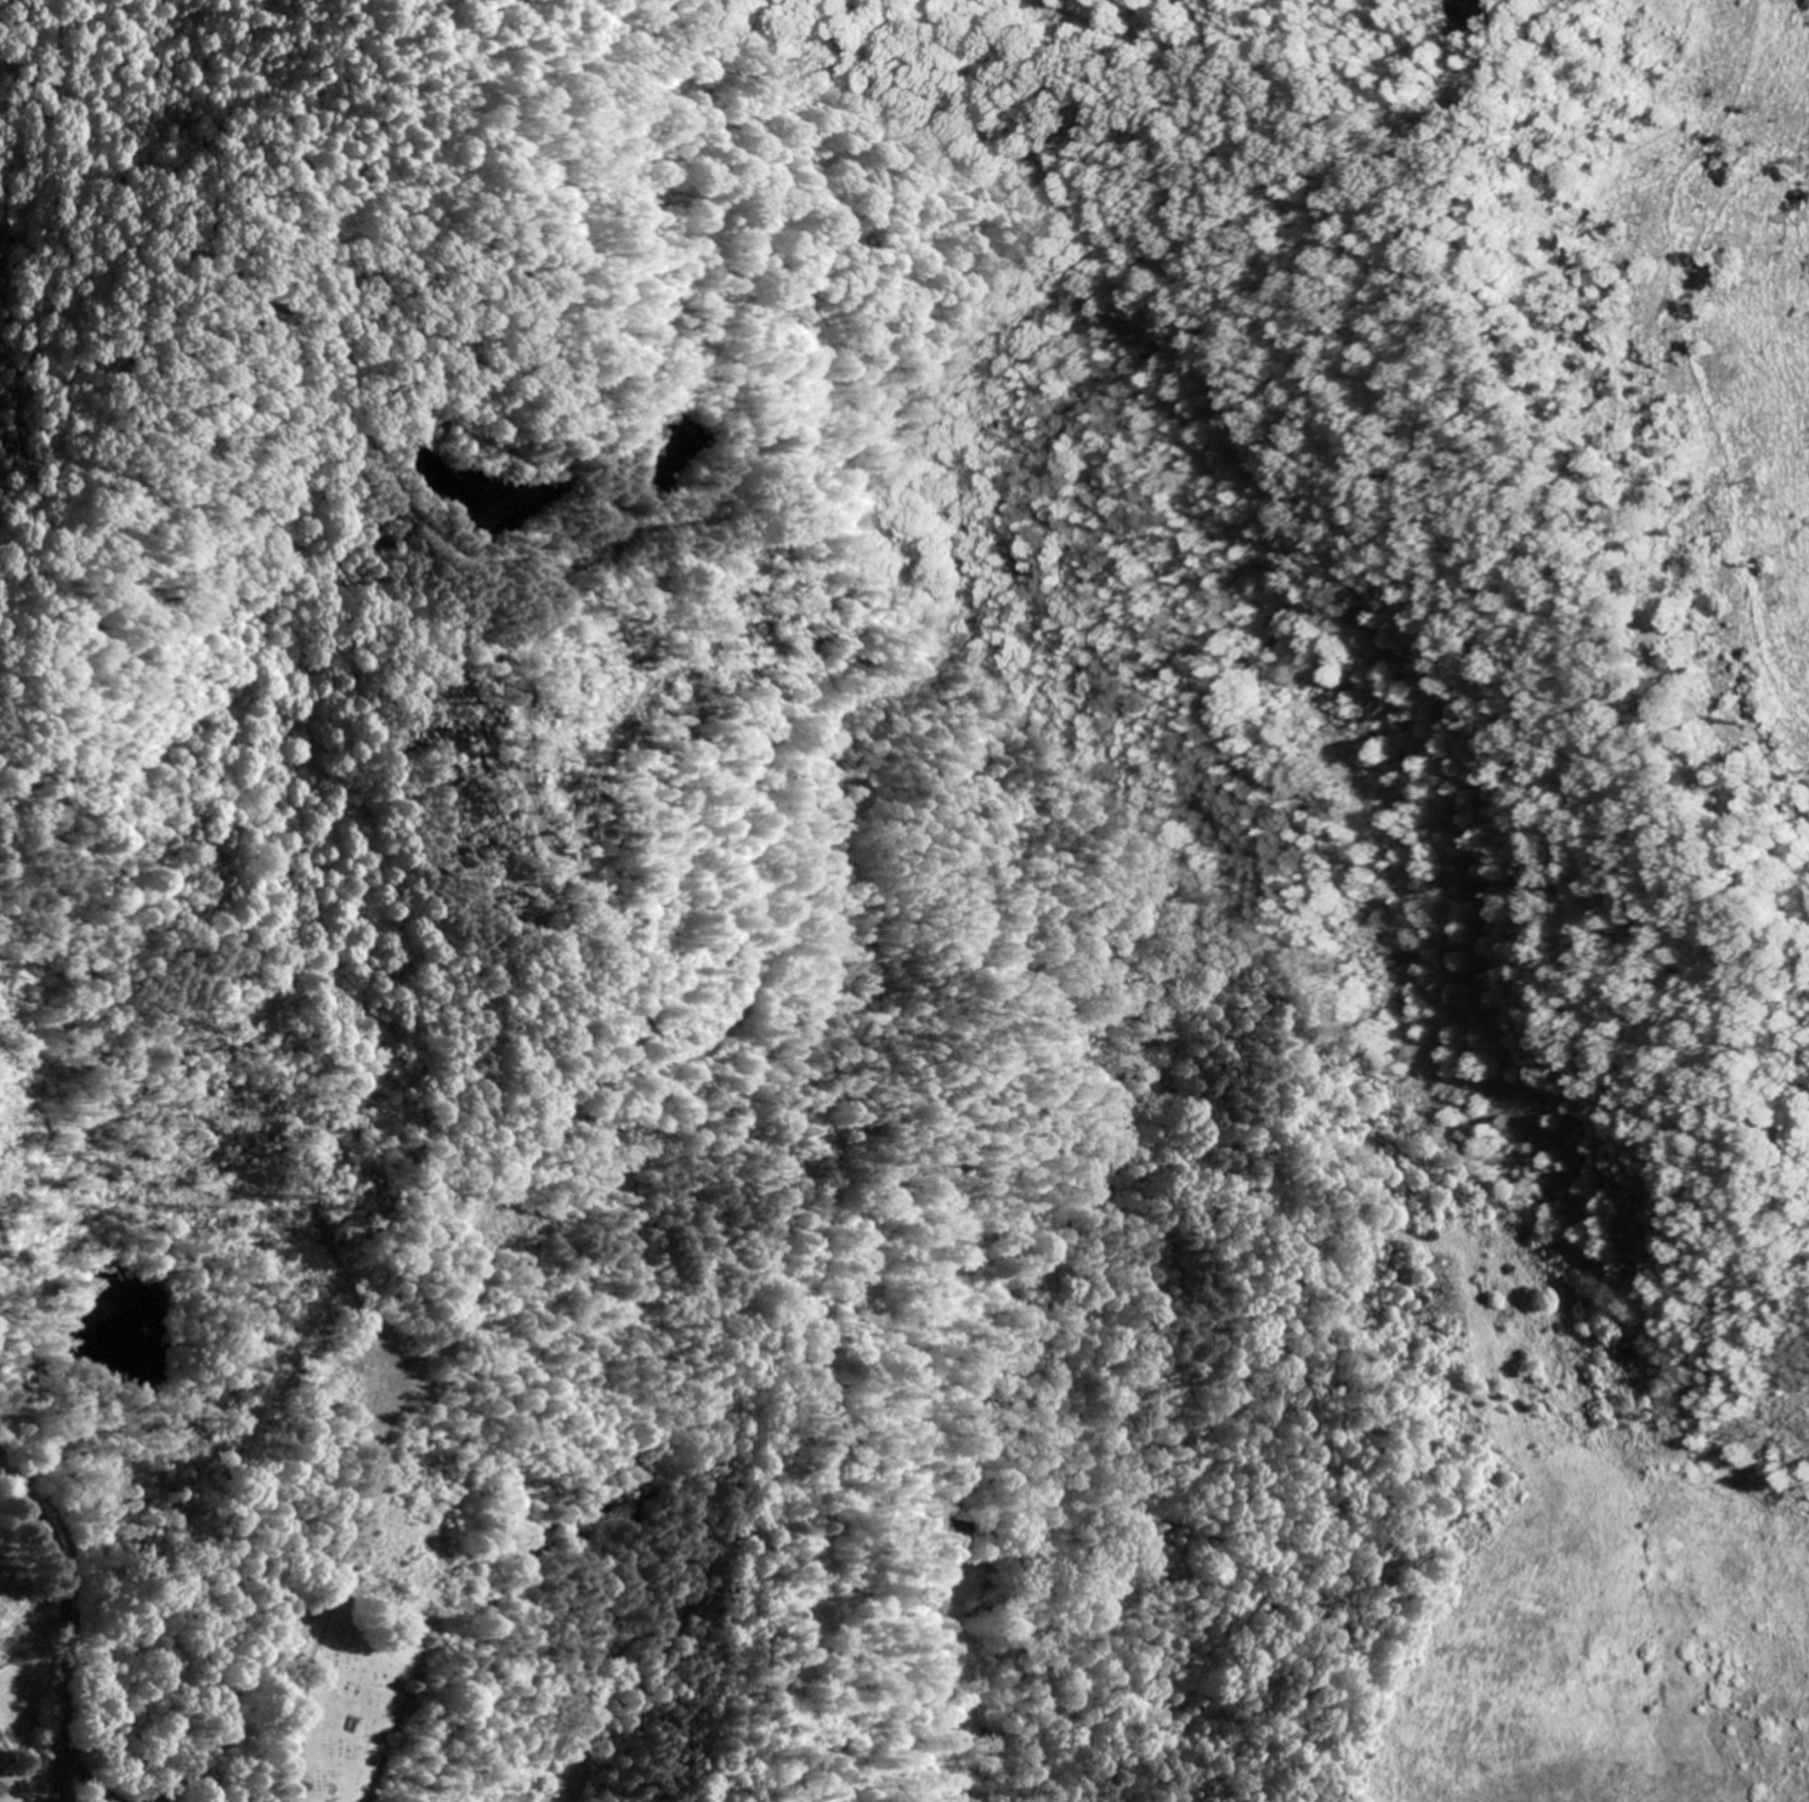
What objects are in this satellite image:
building: (2, 1575)
road: (72, 1622)
building: (2, 1735)

